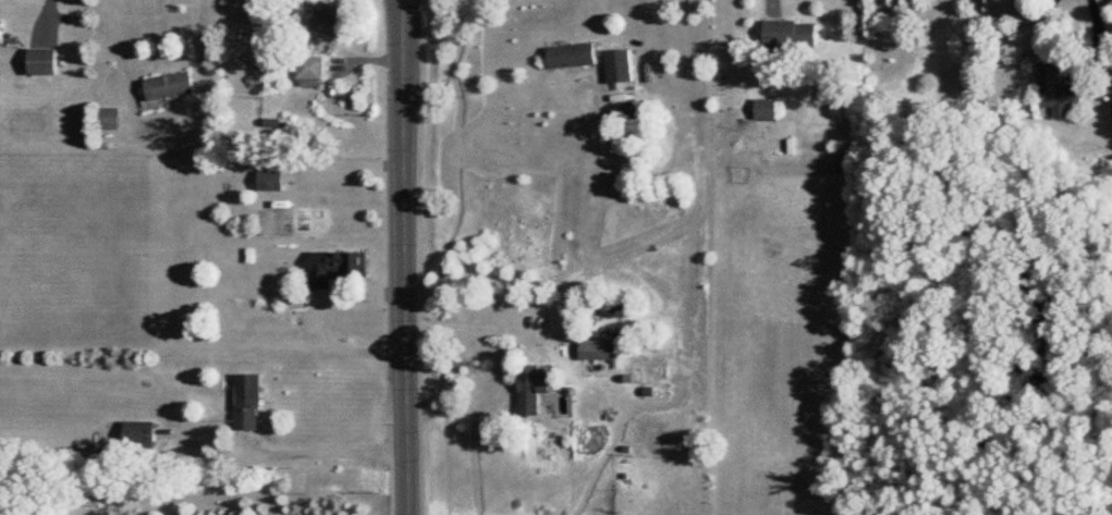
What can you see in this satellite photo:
road: (603, 15)
building: (333, 17)
building: (2, 30)
building: (794, 33)
road: (118, 46)
building: (575, 54)
building: (44, 60)
building: (314, 70)
building: (172, 85)
building: (1060, 89)
building: (768, 108)
building: (115, 119)
building: (274, 179)
road: (404, 257)
building: (339, 266)
road: (321, 317)
road: (477, 324)
building: (601, 348)
building: (535, 389)
building: (252, 400)
building: (143, 433)
road: (316, 445)

